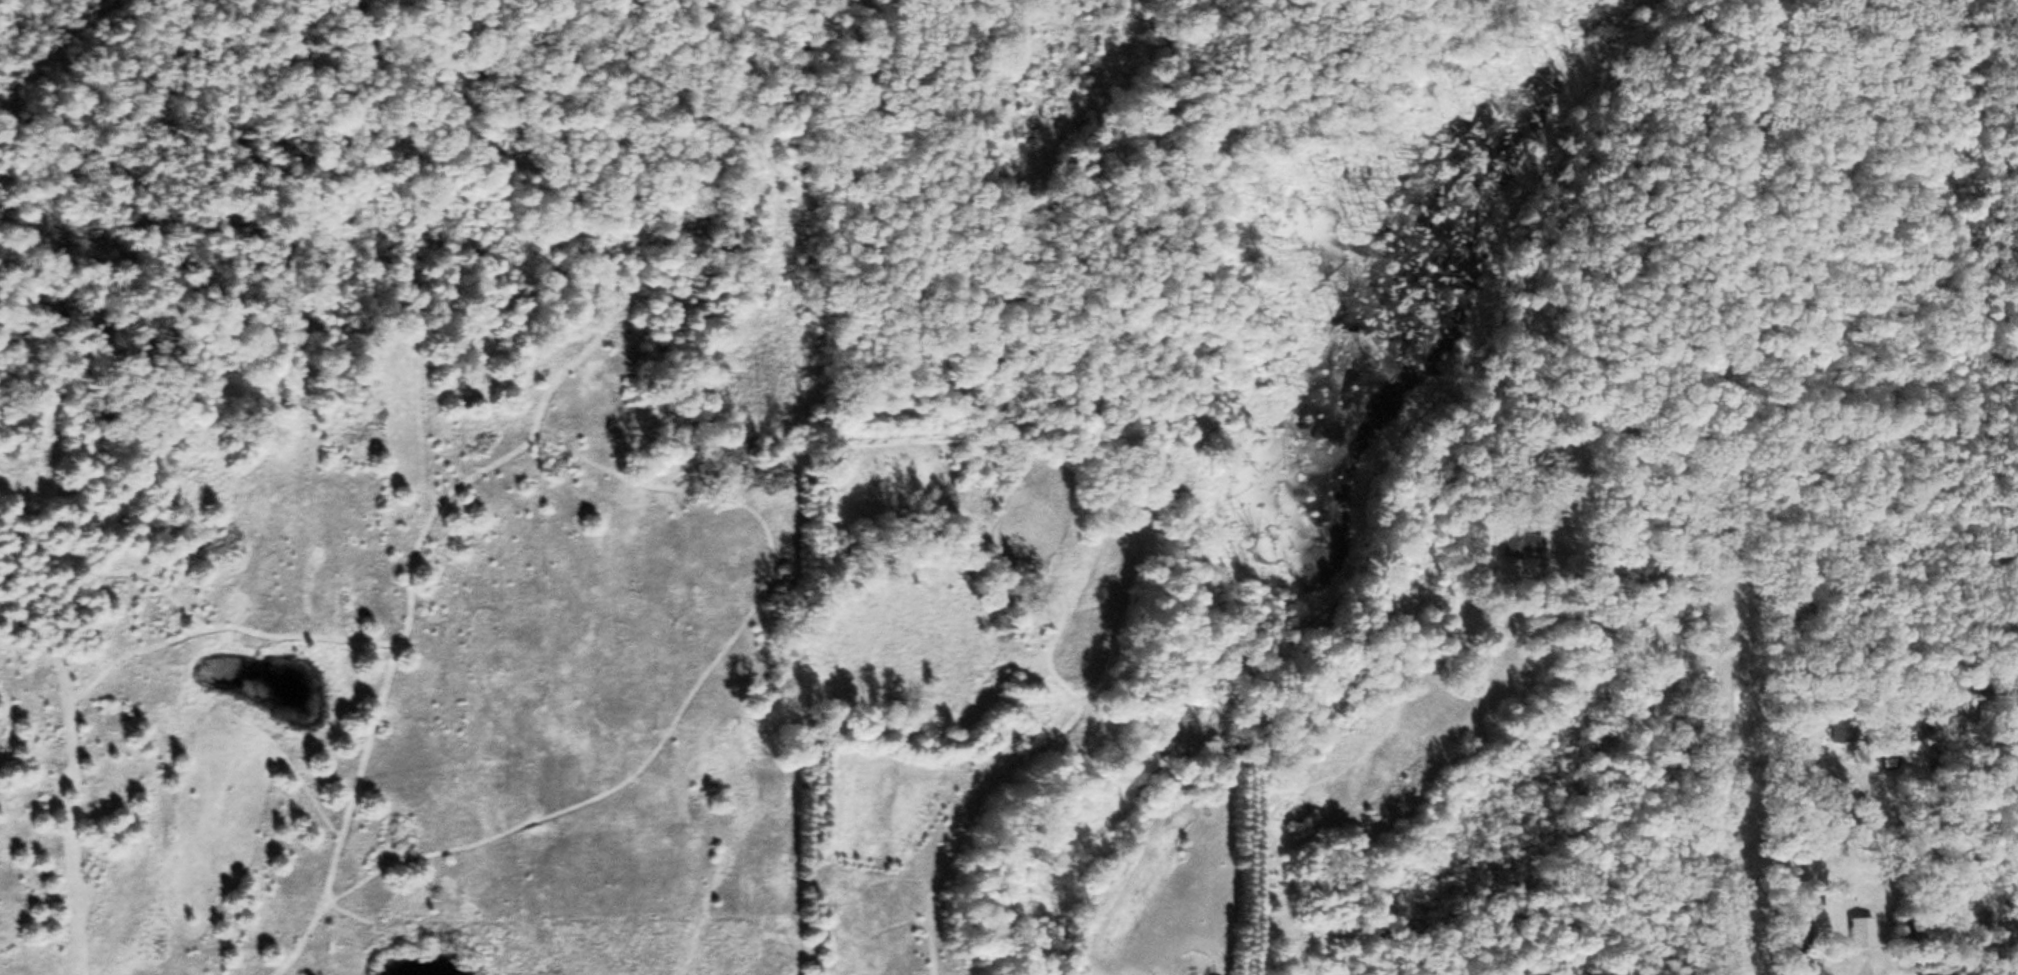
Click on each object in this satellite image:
road: (1711, 487)
building: (1520, 538)
building: (1864, 932)

